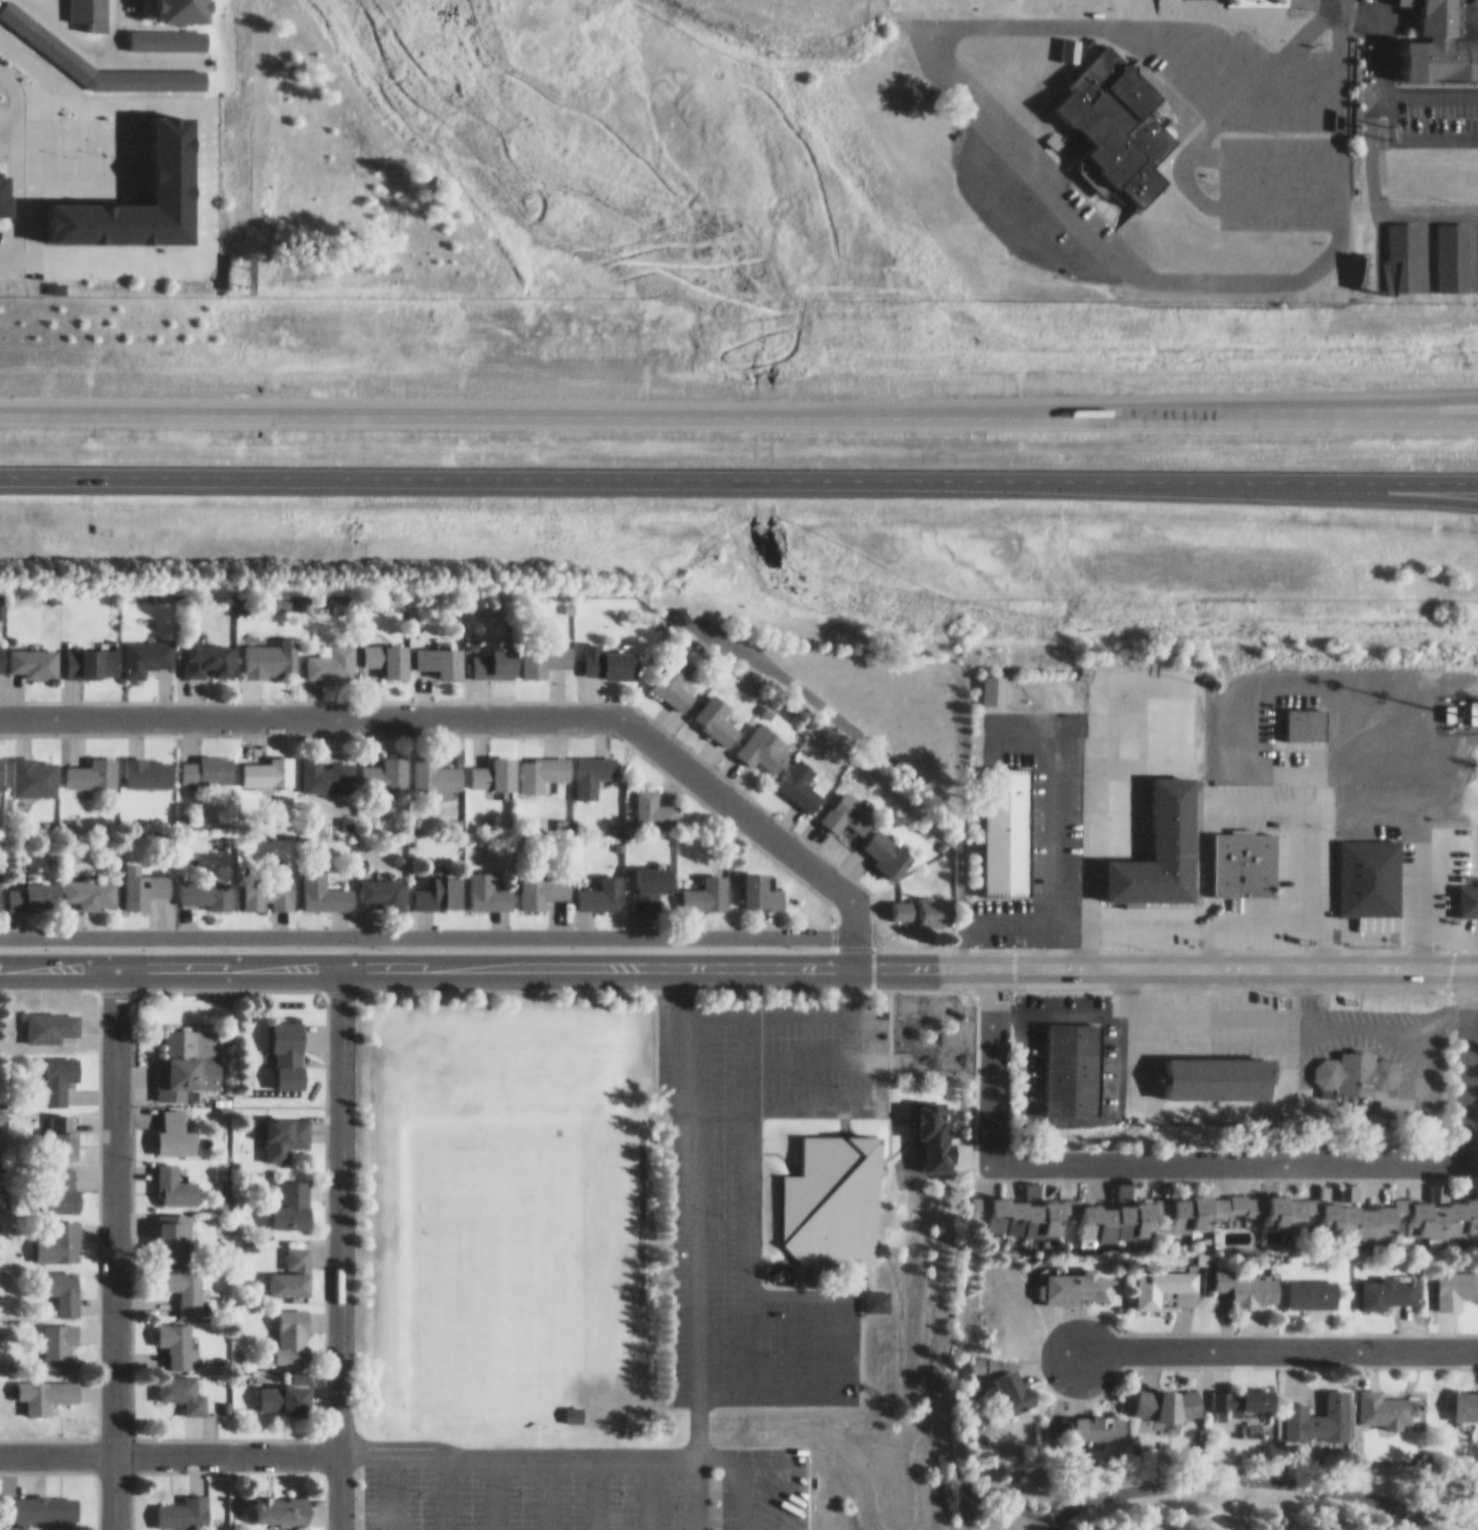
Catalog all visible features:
road: (1097, 15)
road: (979, 24)
building: (1441, 39)
road: (1185, 59)
road: (1388, 85)
road: (1285, 97)
parking lot: (1250, 109)
building: (1121, 113)
road: (1412, 130)
road: (1188, 139)
road: (1261, 149)
road: (1374, 192)
road: (1473, 239)
road: (1423, 240)
road: (1376, 242)
building: (1403, 249)
building: (1453, 249)
road: (1180, 273)
road: (1241, 398)
road: (739, 405)
road: (739, 467)
road: (1244, 480)
building: (146, 647)
building: (388, 648)
building: (208, 649)
building: (272, 649)
building: (2, 650)
building: (441, 650)
building: (543, 650)
building: (33, 653)
building: (92, 653)
building: (332, 653)
building: (495, 653)
building: (609, 653)
building: (675, 673)
building: (995, 680)
road: (489, 708)
building: (716, 710)
building: (1303, 714)
building: (765, 739)
building: (207, 761)
building: (145, 762)
building: (266, 762)
building: (2, 763)
building: (92, 763)
building: (385, 763)
building: (543, 764)
building: (326, 765)
building: (593, 765)
building: (495, 766)
building: (35, 768)
building: (435, 769)
building: (800, 776)
road: (1093, 792)
road: (1259, 798)
building: (654, 801)
building: (848, 805)
building: (1004, 820)
building: (1160, 840)
building: (888, 843)
road: (1052, 851)
building: (1240, 853)
road: (1305, 853)
building: (1368, 872)
building: (651, 876)
building: (0, 879)
building: (147, 879)
building: (543, 882)
building: (93, 883)
building: (384, 883)
building: (763, 883)
building: (35, 884)
building: (207, 884)
building: (325, 884)
building: (488, 884)
building: (602, 884)
building: (269, 885)
building: (440, 885)
building: (707, 885)
building: (1464, 892)
road: (1417, 895)
building: (922, 901)
road: (1198, 911)
road: (427, 928)
road: (907, 958)
road: (168, 959)
building: (52, 1018)
building: (289, 1045)
road: (868, 1050)
building: (188, 1054)
building: (1070, 1057)
building: (1343, 1061)
road: (877, 1062)
building: (1217, 1067)
building: (59, 1069)
building: (176, 1125)
building: (63, 1127)
building: (286, 1127)
road: (1229, 1156)
building: (175, 1177)
parking lot: (753, 1179)
building: (60, 1181)
building: (832, 1190)
building: (293, 1196)
building: (1298, 1201)
park: (499, 1204)
building: (1167, 1207)
building: (1026, 1209)
building: (1404, 1209)
building: (174, 1229)
building: (58, 1232)
road: (743, 1236)
road: (695, 1243)
road: (113, 1244)
road: (338, 1244)
building: (292, 1266)
park: (468, 1271)
building: (1249, 1276)
building: (1456, 1277)
building: (1077, 1279)
building: (1163, 1279)
building: (183, 1280)
building: (1392, 1283)
building: (61, 1284)
road: (763, 1285)
building: (1316, 1285)
building: (875, 1292)
building: (293, 1327)
building: (59, 1335)
building: (177, 1335)
road: (793, 1335)
road: (830, 1336)
road: (1278, 1340)
building: (1015, 1382)
building: (182, 1383)
road: (763, 1383)
building: (50, 1386)
building: (286, 1390)
building: (1245, 1391)
building: (1170, 1395)
building: (1467, 1397)
building: (1390, 1401)
building: (573, 1405)
building: (1323, 1409)
building: (1097, 1418)
road: (610, 1445)
road: (169, 1446)
road: (1238, 1469)
parking lot: (582, 1482)
road: (546, 1487)
road: (598, 1487)
road: (647, 1487)
road: (742, 1487)
road: (390, 1488)
road: (444, 1488)
road: (493, 1488)
park: (1220, 1492)
building: (43, 1499)
road: (1234, 1499)
building: (284, 1501)
building: (183, 1505)
building: (52, 1528)
building: (170, 1528)

